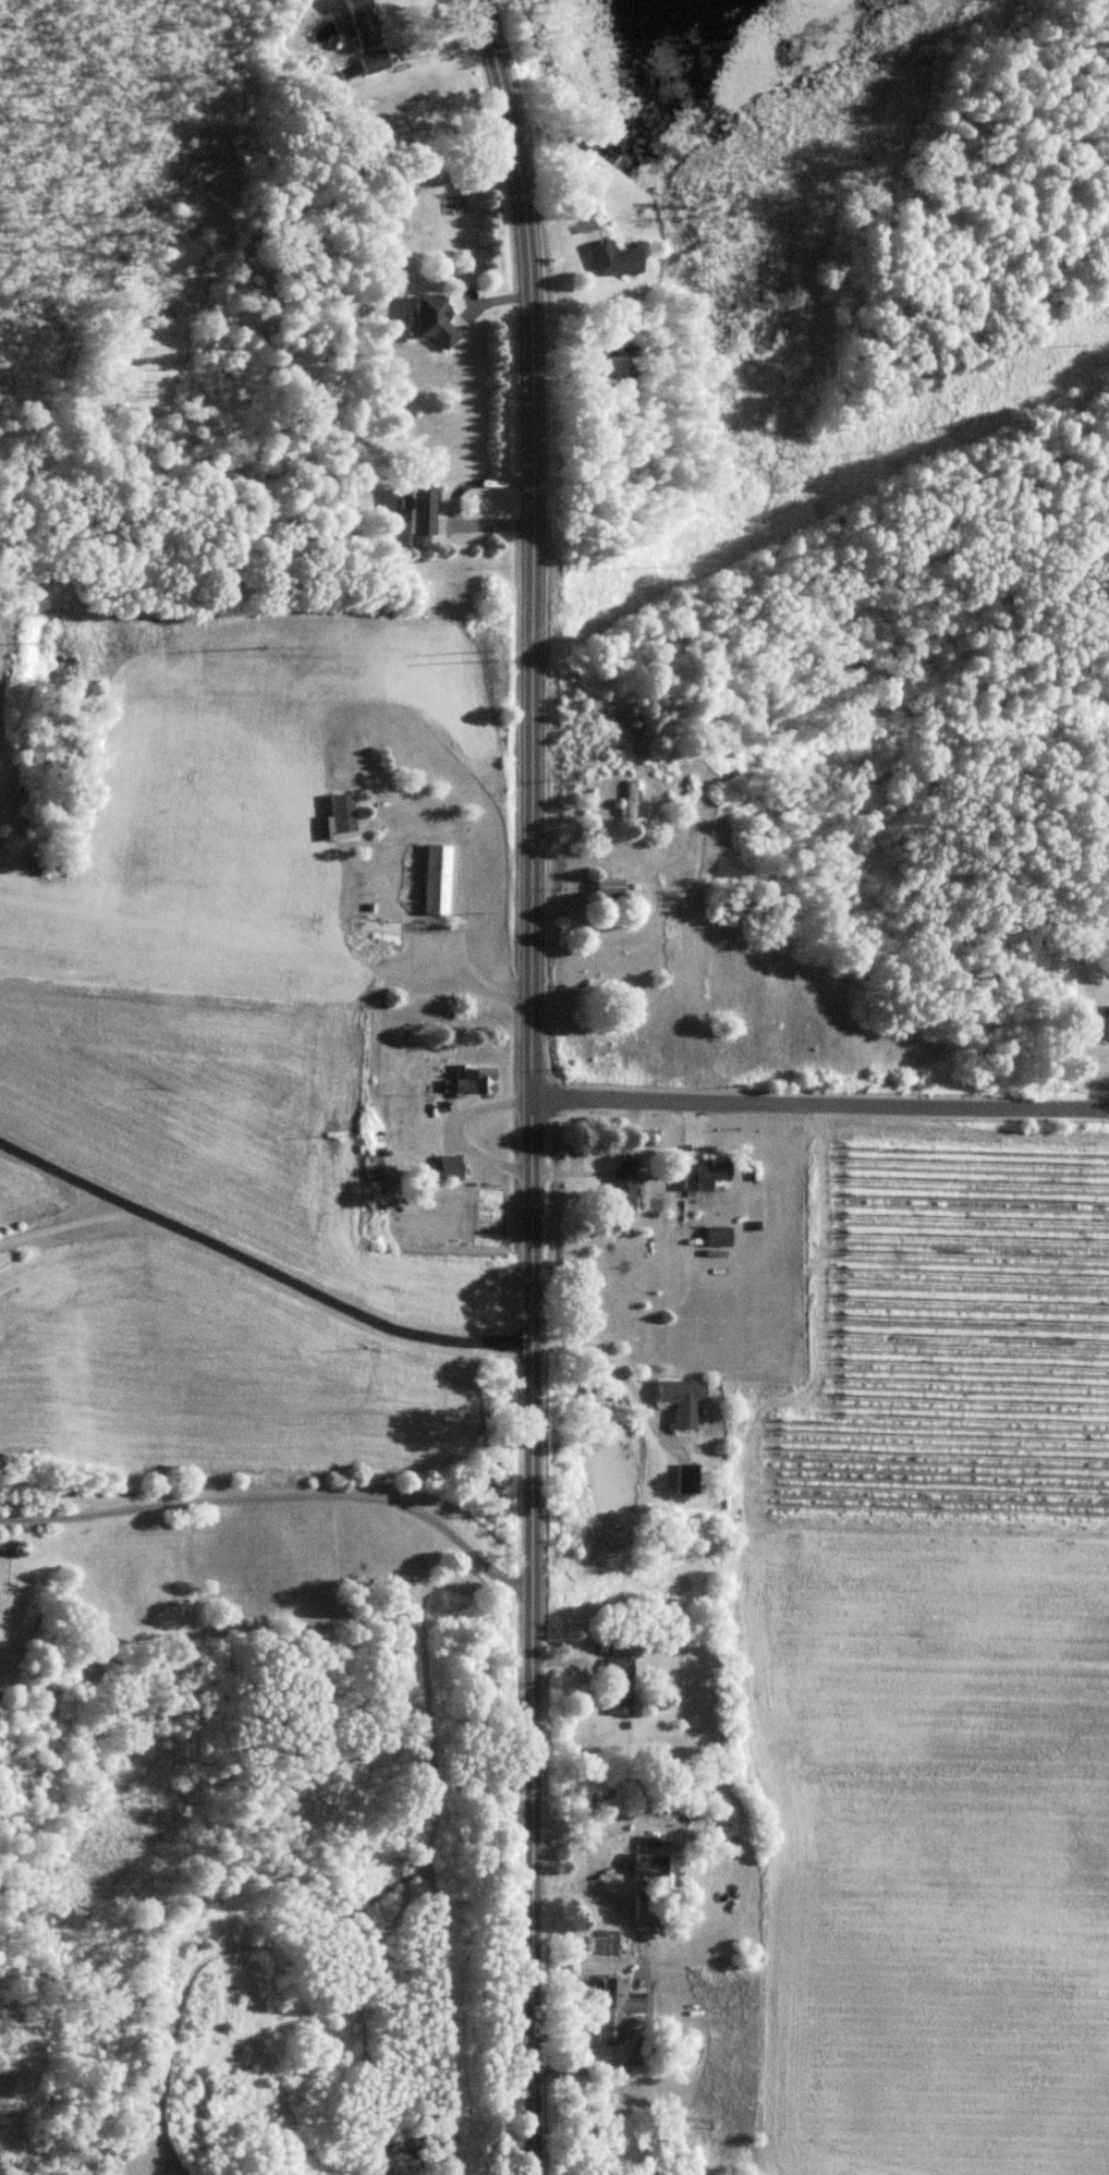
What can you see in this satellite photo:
building: (364, 23)
building: (374, 62)
building: (614, 262)
building: (429, 320)
building: (614, 376)
building: (421, 518)
building: (370, 758)
building: (629, 805)
building: (436, 882)
building: (608, 888)
road: (462, 894)
building: (745, 918)
road: (637, 927)
building: (1102, 1030)
building: (474, 1080)
road: (532, 1083)
road: (820, 1105)
building: (446, 1168)
building: (707, 1175)
building: (625, 1186)
road: (70, 1223)
building: (719, 1237)
road: (259, 1266)
road: (608, 1361)
building: (682, 1400)
building: (687, 1478)
road: (279, 1495)
building: (620, 1687)
building: (629, 1884)
building: (609, 1940)
road: (646, 1985)
building: (614, 2008)
building: (653, 2045)

